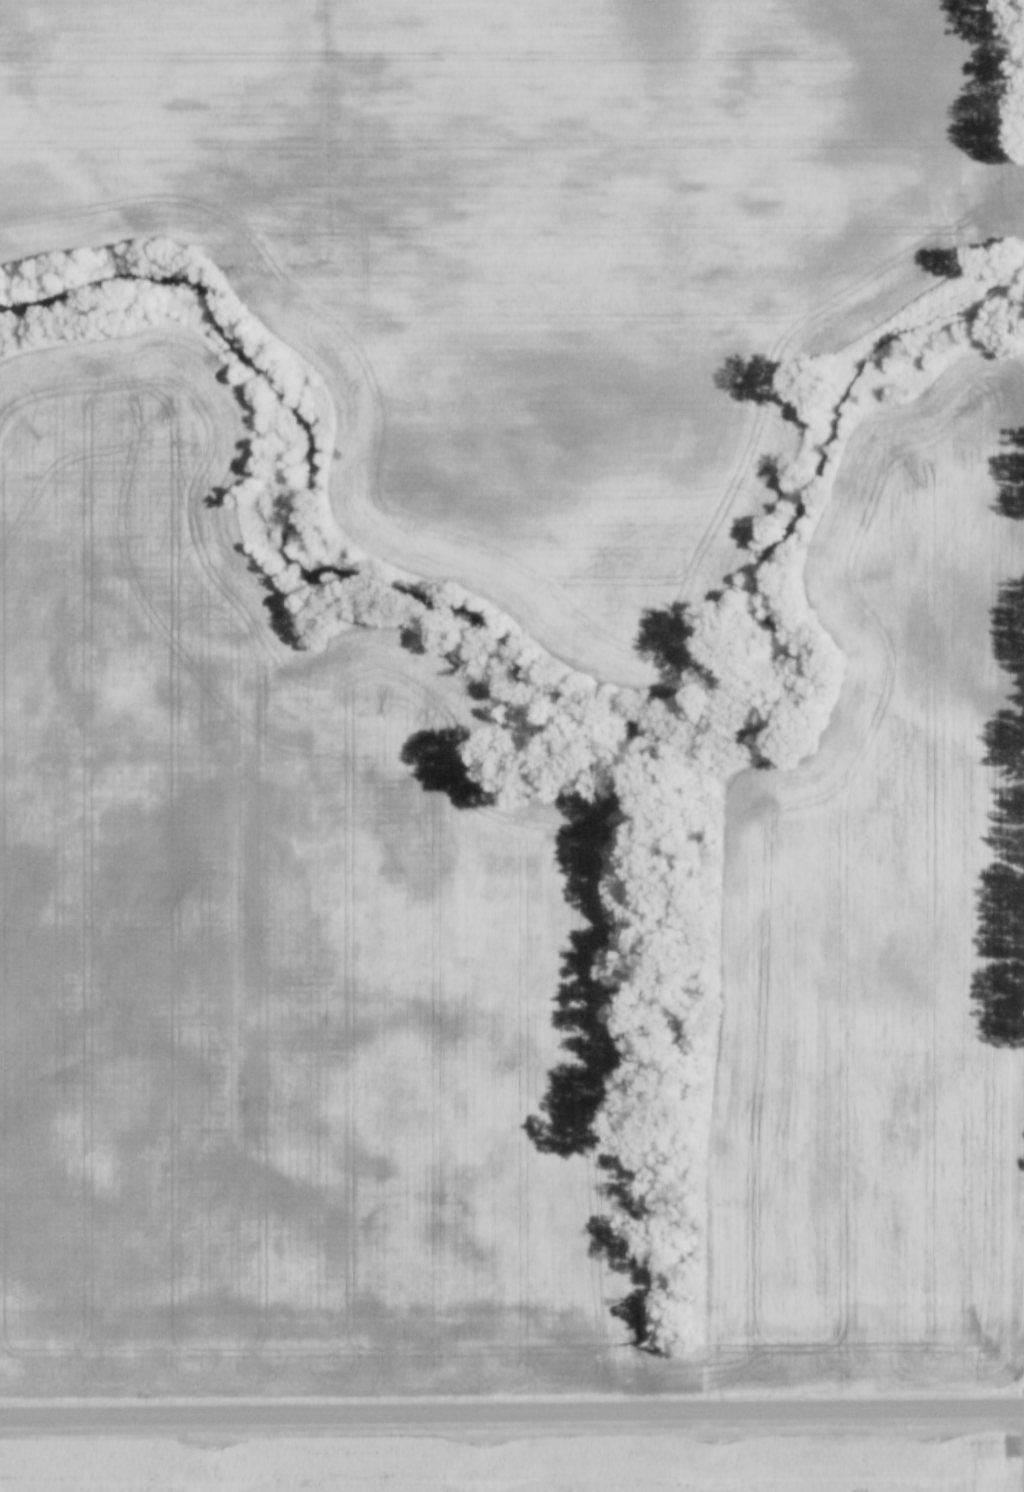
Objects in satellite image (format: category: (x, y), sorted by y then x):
road: (512, 1415)

